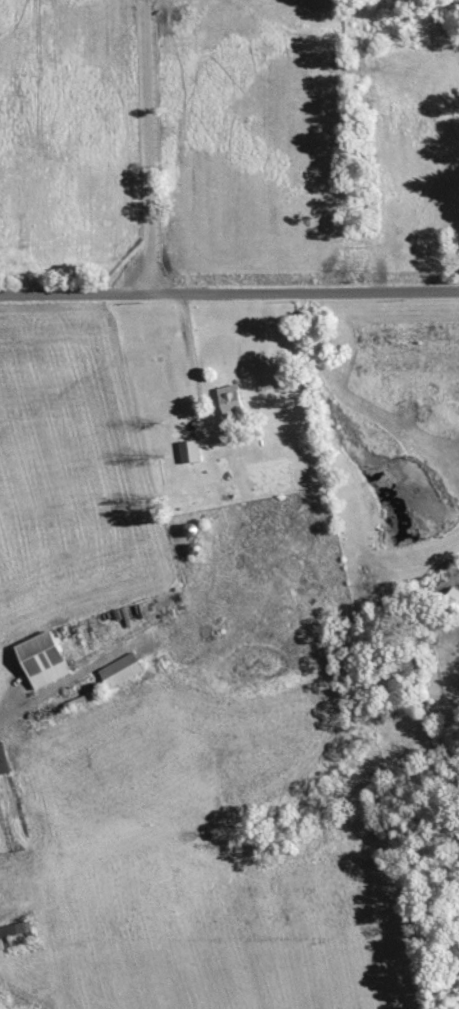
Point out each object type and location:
road: (150, 146)
road: (229, 292)
road: (195, 353)
building: (228, 404)
building: (187, 450)
building: (451, 596)
building: (39, 658)
building: (118, 669)
road: (8, 707)
building: (2, 761)
building: (13, 929)

